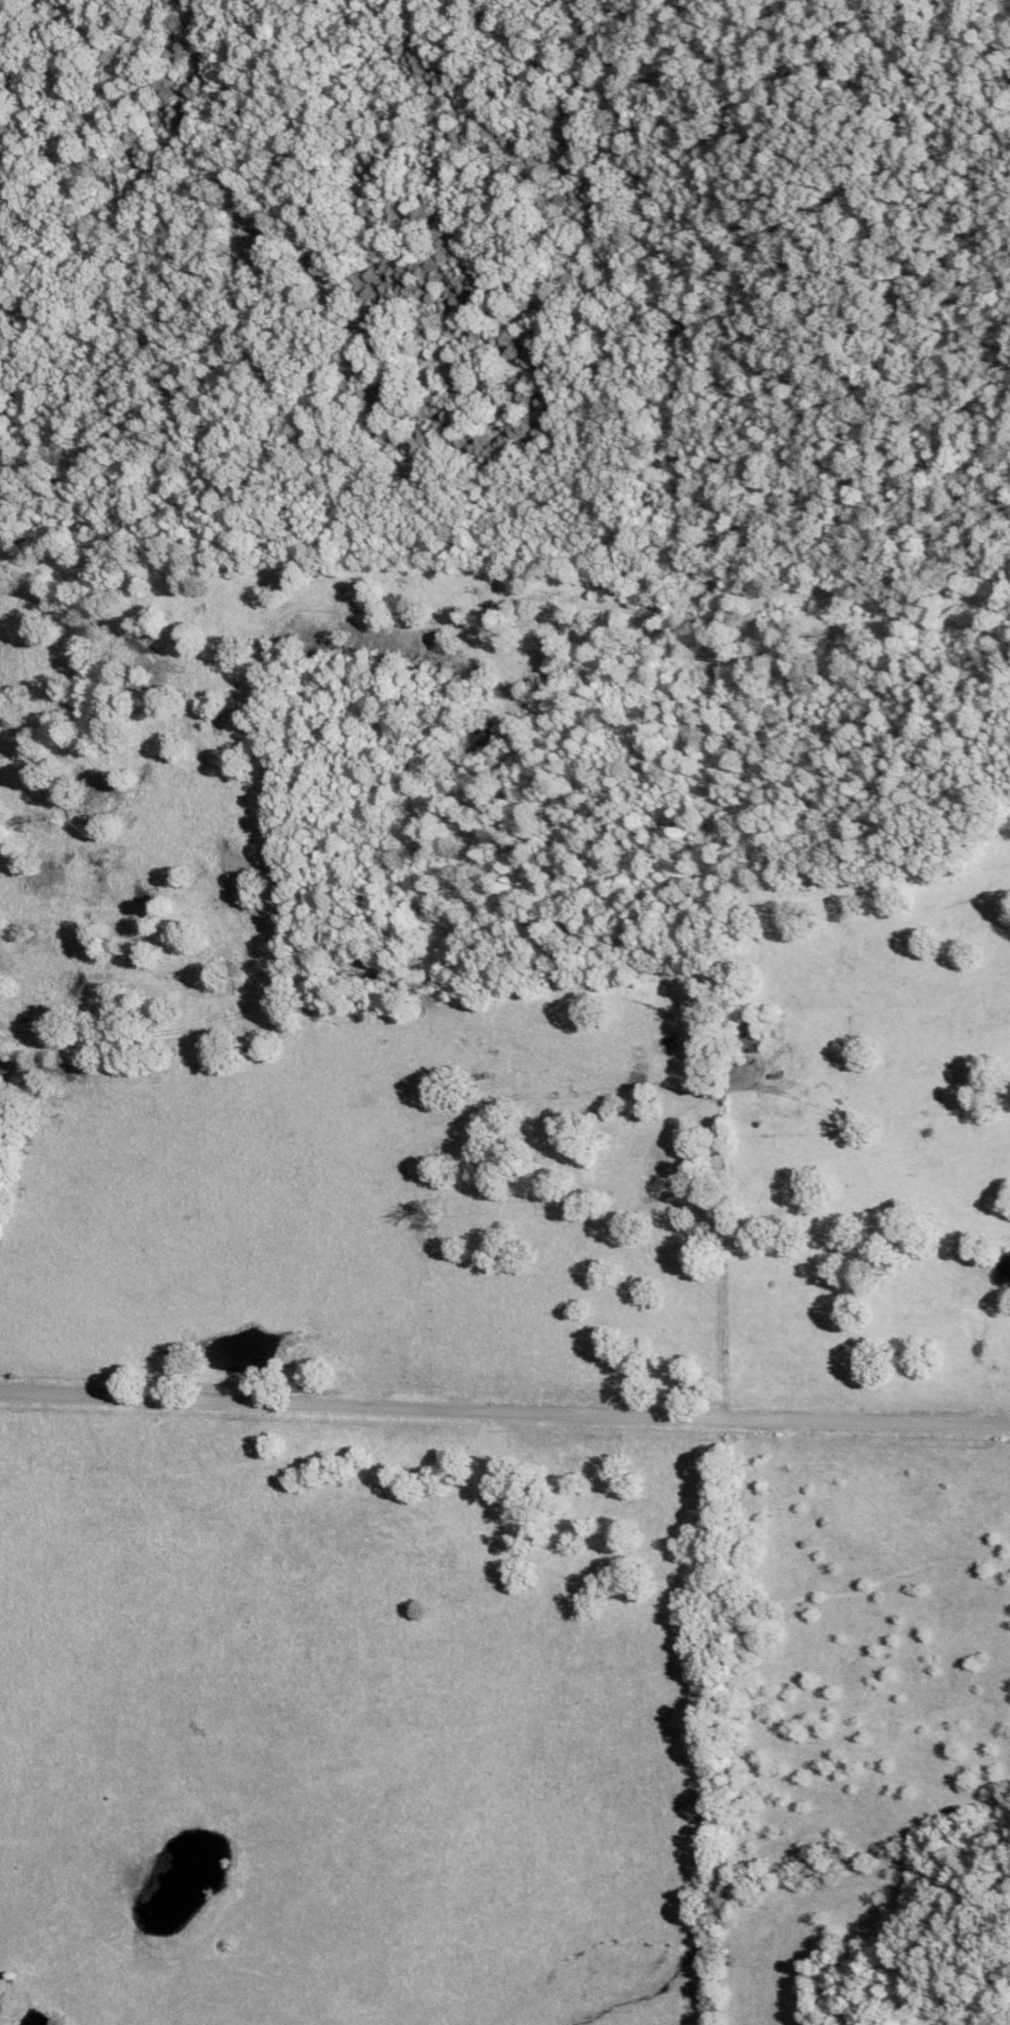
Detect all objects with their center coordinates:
park: (509, 252)
road: (504, 1409)

